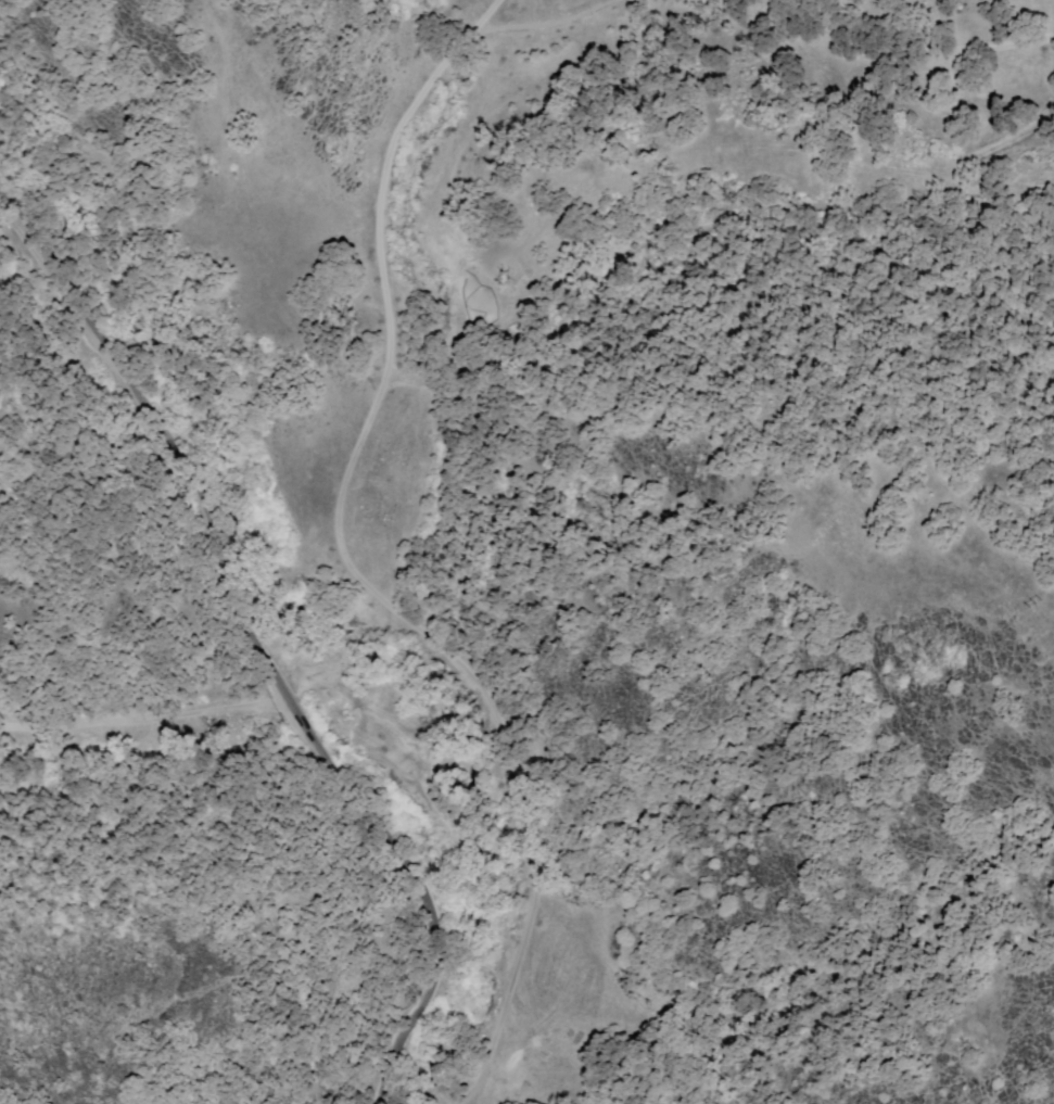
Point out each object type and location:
road: (941, 43)
road: (336, 521)
road: (266, 661)
road: (144, 721)

